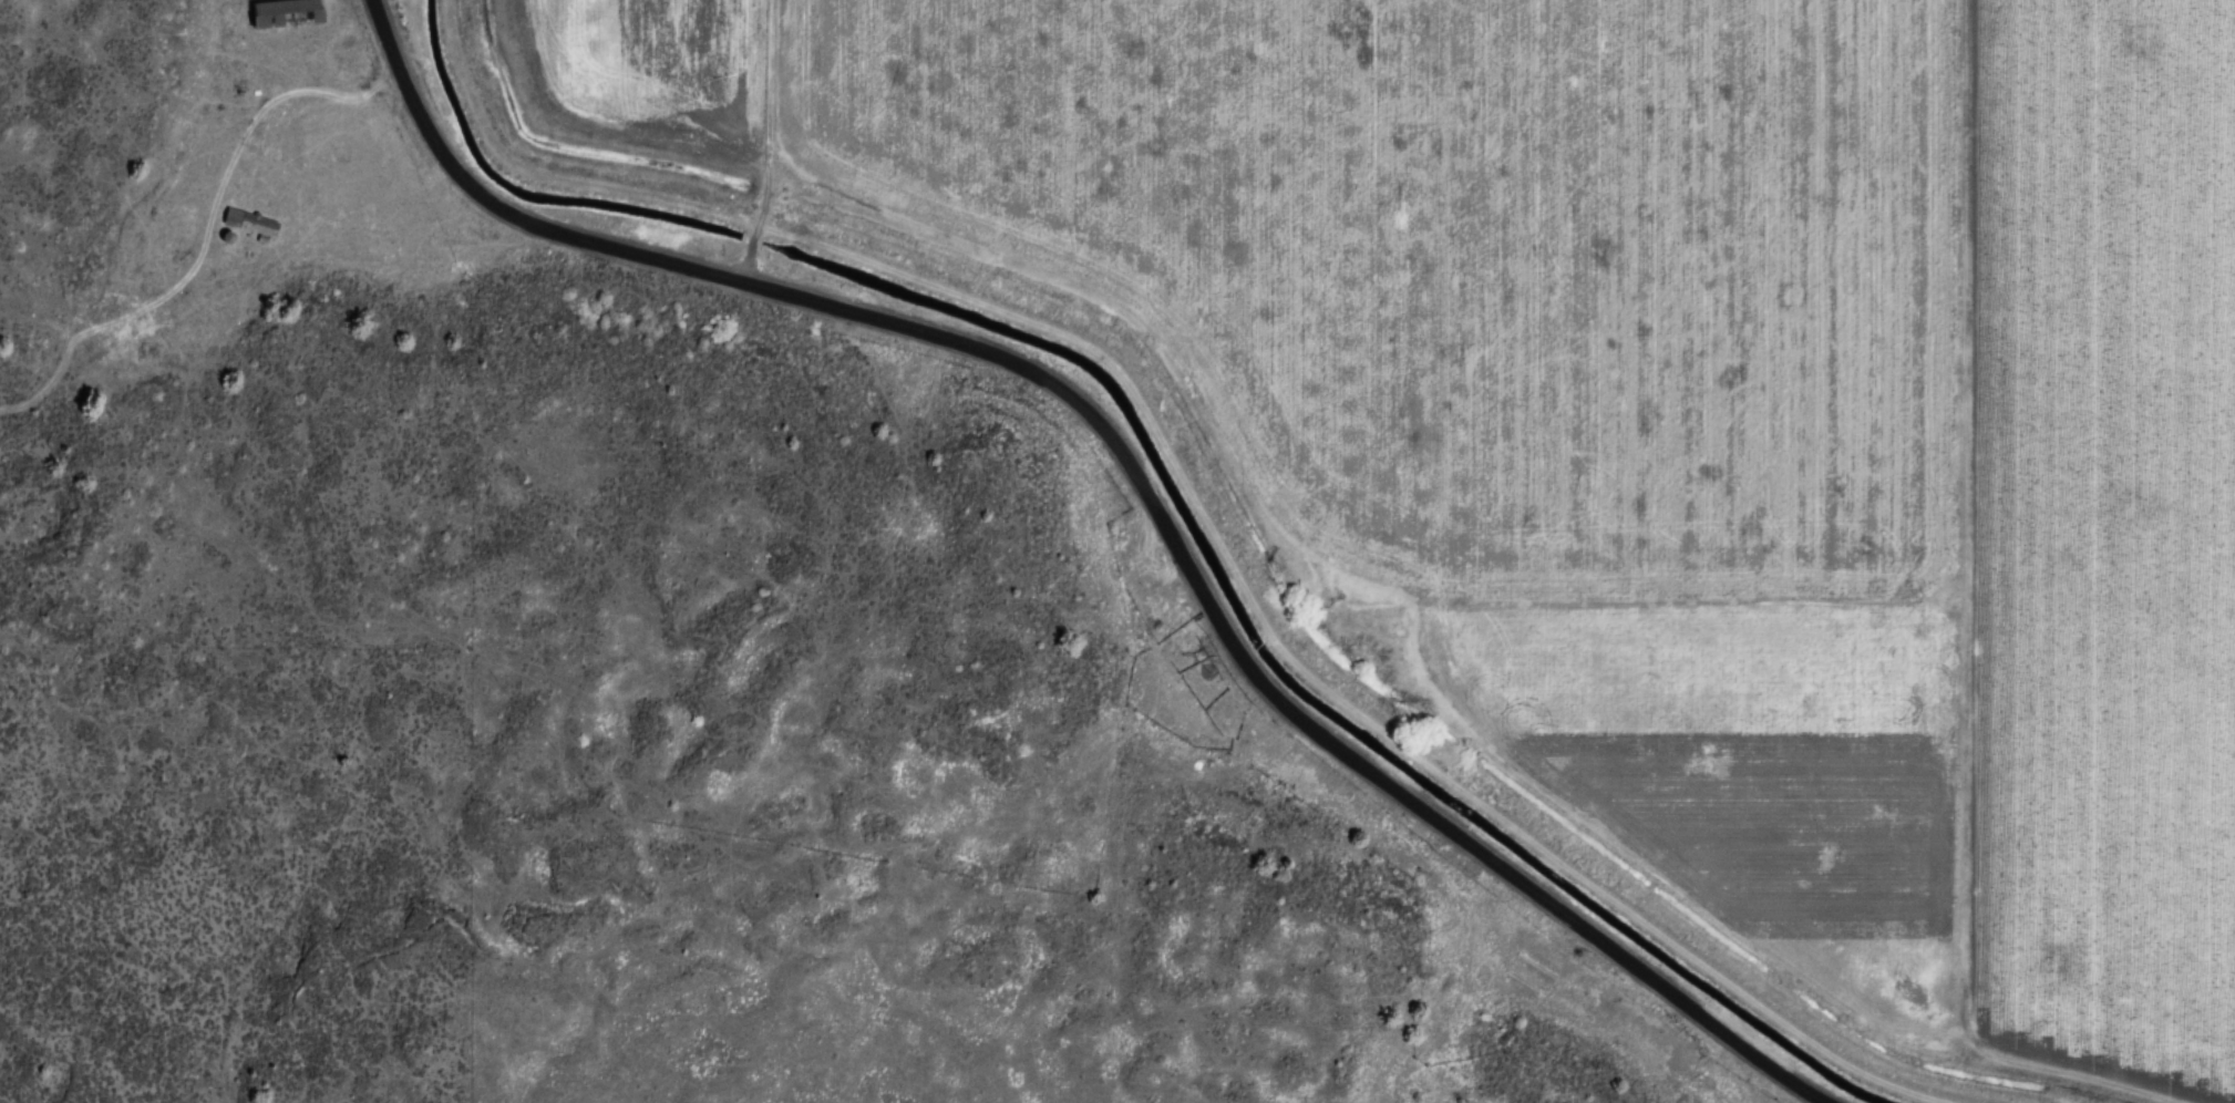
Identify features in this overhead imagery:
building: (291, 10)
crop: (657, 63)
building: (257, 218)
road: (753, 224)
silo: (237, 235)
road: (206, 237)
crop: (1539, 377)
road: (1133, 471)
crop: (2103, 538)

